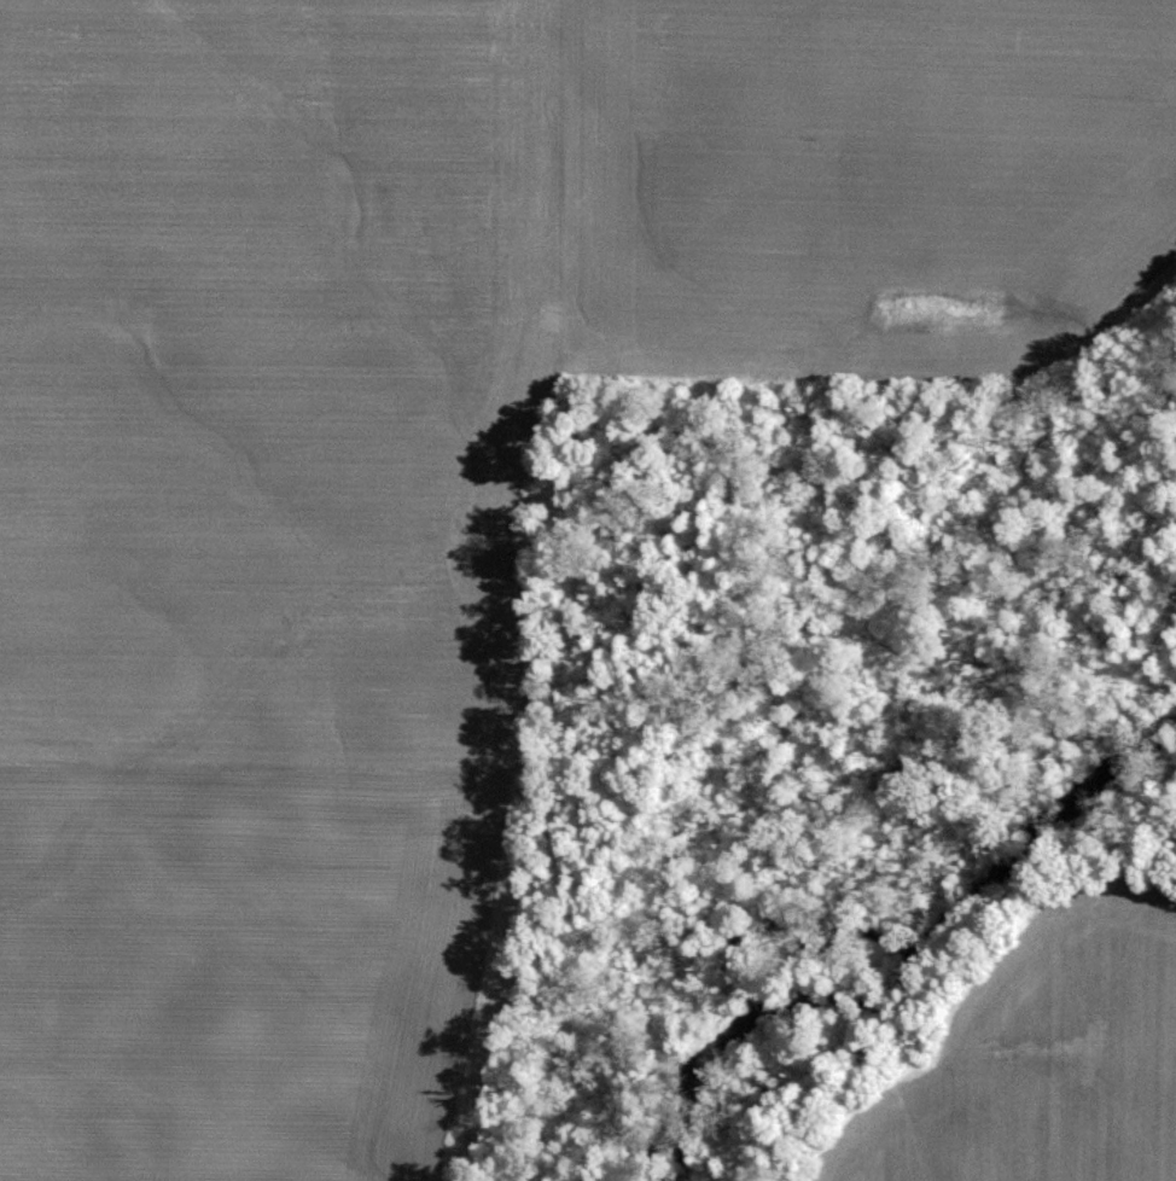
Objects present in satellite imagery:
river: (1013, 851)

